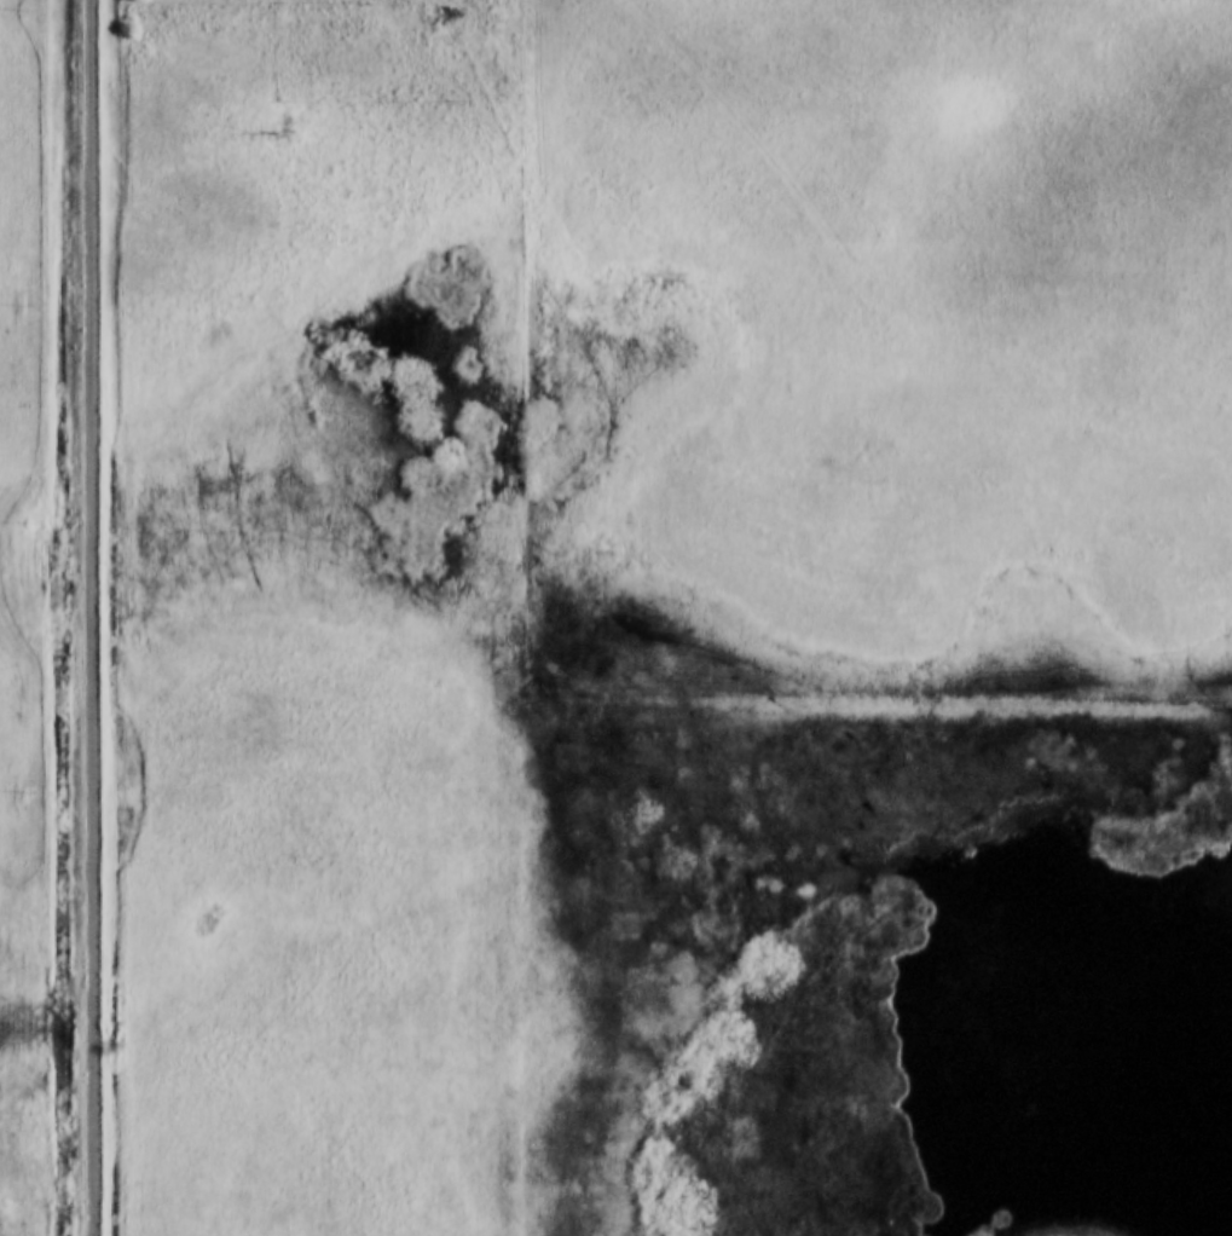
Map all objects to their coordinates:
road: (88, 618)

